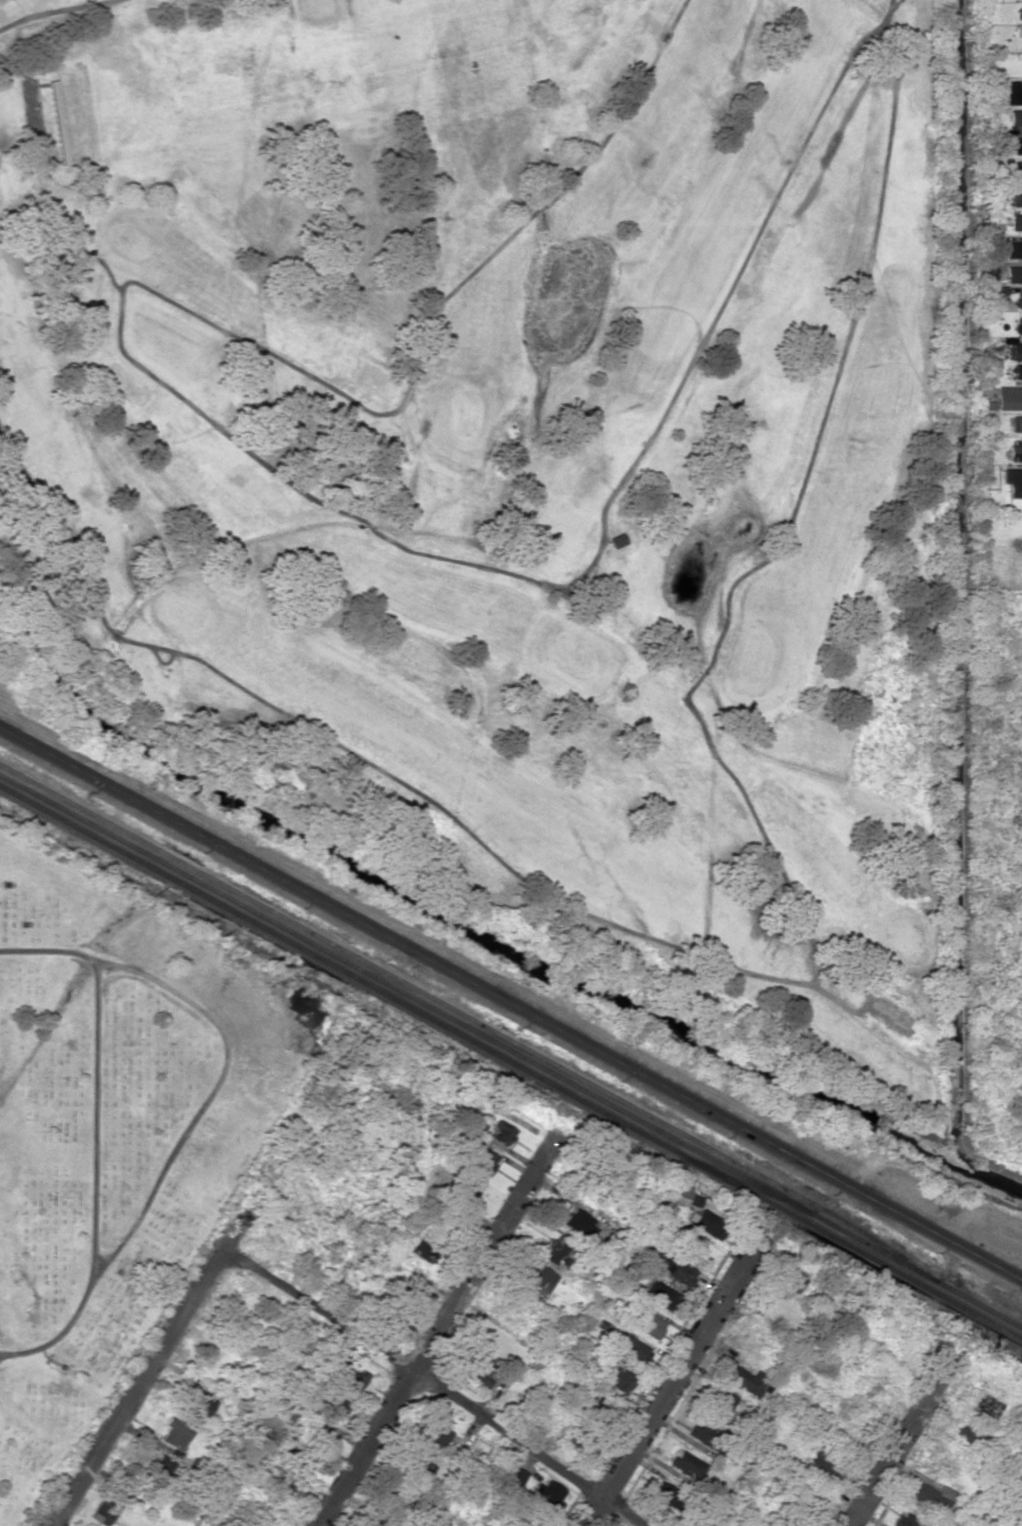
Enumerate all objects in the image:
building: (1020, 11)
building: (1012, 93)
building: (1014, 117)
building: (1016, 145)
building: (1016, 168)
building: (1019, 197)
building: (1015, 221)
building: (1013, 249)
building: (1013, 273)
building: (1018, 299)
building: (1018, 325)
building: (1015, 350)
building: (1016, 370)
building: (1008, 397)
building: (1014, 452)
park: (515, 457)
building: (1012, 481)
road: (511, 1003)
railway: (510, 1051)
railway: (511, 1062)
road: (212, 1094)
park: (118, 1132)
building: (502, 1132)
road: (95, 1138)
building: (481, 1160)
building: (467, 1192)
building: (686, 1196)
building: (706, 1222)
building: (580, 1224)
building: (423, 1250)
building: (557, 1251)
building: (671, 1266)
building: (792, 1280)
building: (538, 1281)
road: (211, 1282)
building: (409, 1284)
building: (658, 1294)
building: (644, 1320)
road: (432, 1336)
building: (630, 1348)
building: (478, 1368)
road: (675, 1375)
building: (616, 1377)
building: (746, 1379)
building: (352, 1381)
road: (438, 1389)
building: (721, 1401)
building: (199, 1404)
building: (984, 1404)
building: (332, 1408)
building: (698, 1431)
building: (319, 1432)
building: (966, 1432)
building: (174, 1434)
building: (437, 1436)
road: (898, 1442)
building: (296, 1456)
building: (827, 1463)
building: (687, 1464)
building: (162, 1465)
building: (419, 1467)
building: (516, 1475)
building: (662, 1492)
building: (546, 1494)
building: (931, 1497)
building: (104, 1509)
building: (388, 1512)
building: (908, 1520)
building: (252, 1524)

